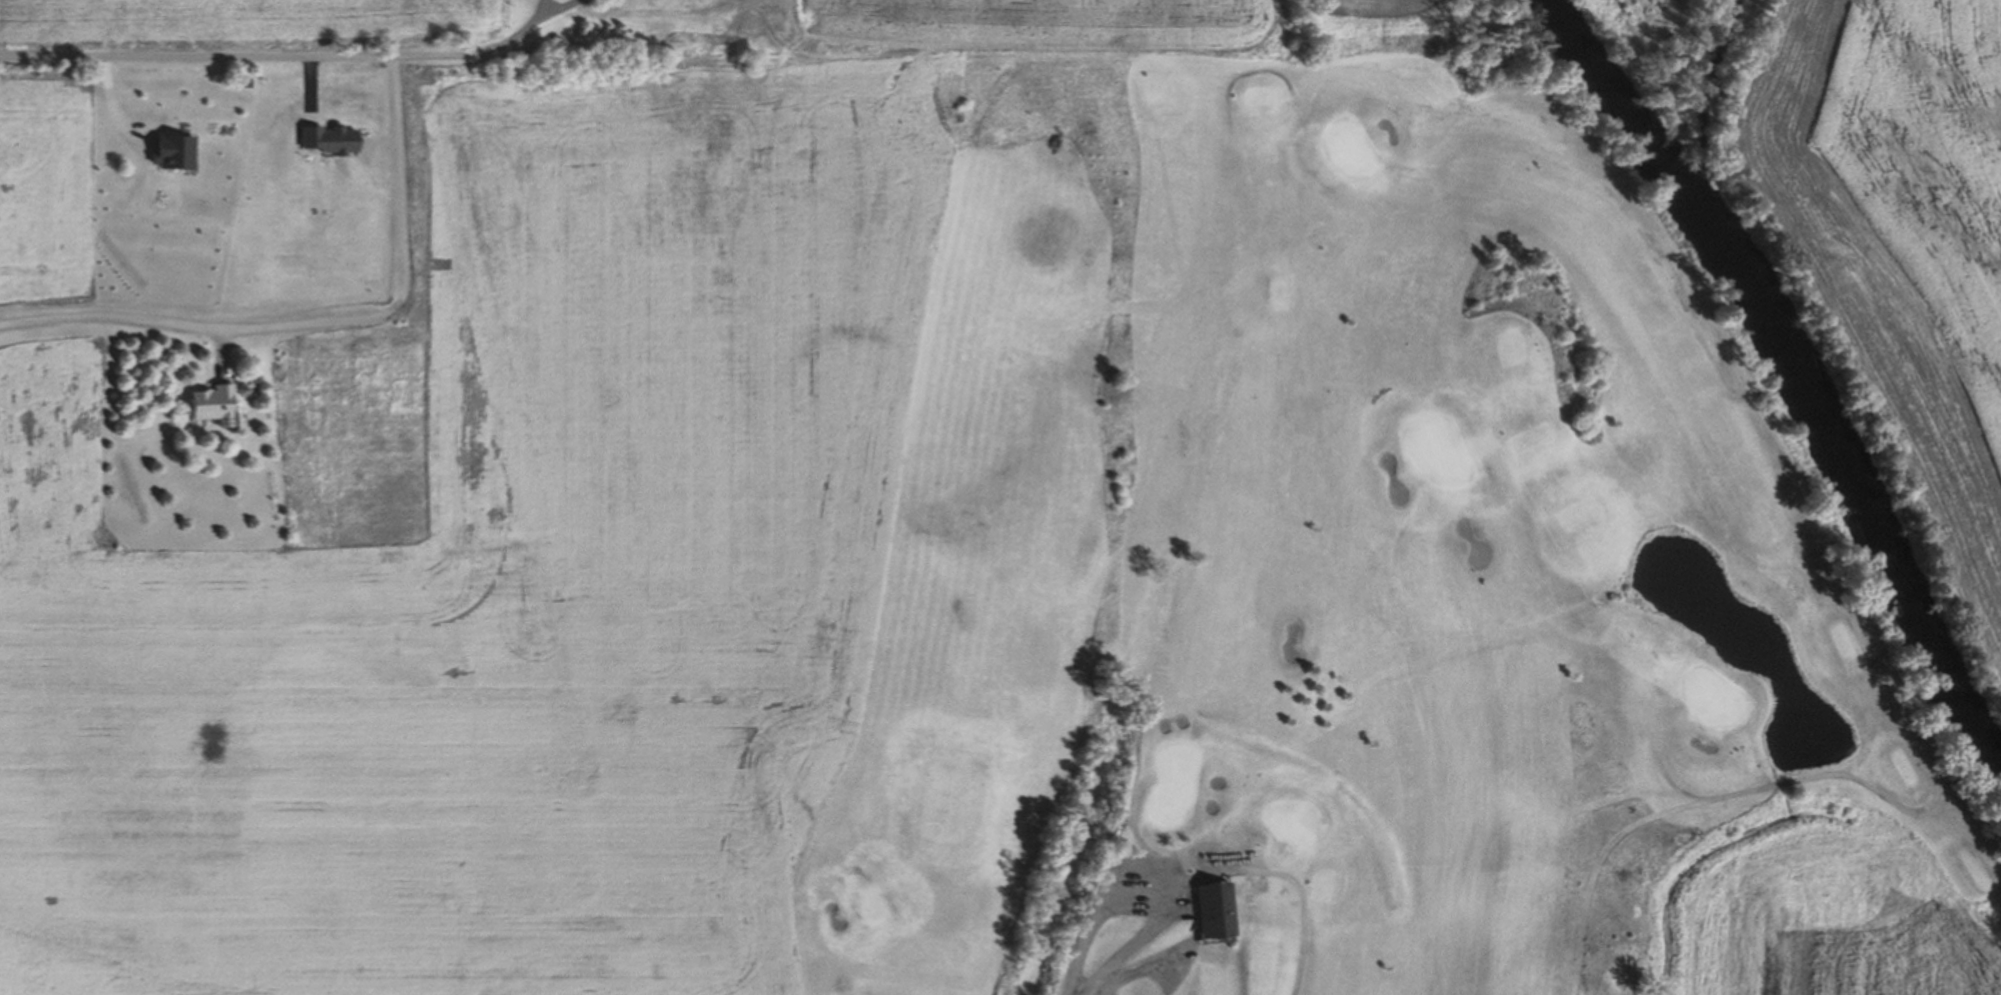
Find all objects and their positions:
road: (296, 56)
road: (1252, 72)
park: (1351, 150)
road: (325, 321)
river: (1787, 381)
building: (218, 405)
park: (1437, 449)
park: (1310, 571)
park: (1711, 697)
road: (1131, 780)
road: (1912, 811)
building: (1209, 909)
building: (1139, 920)

